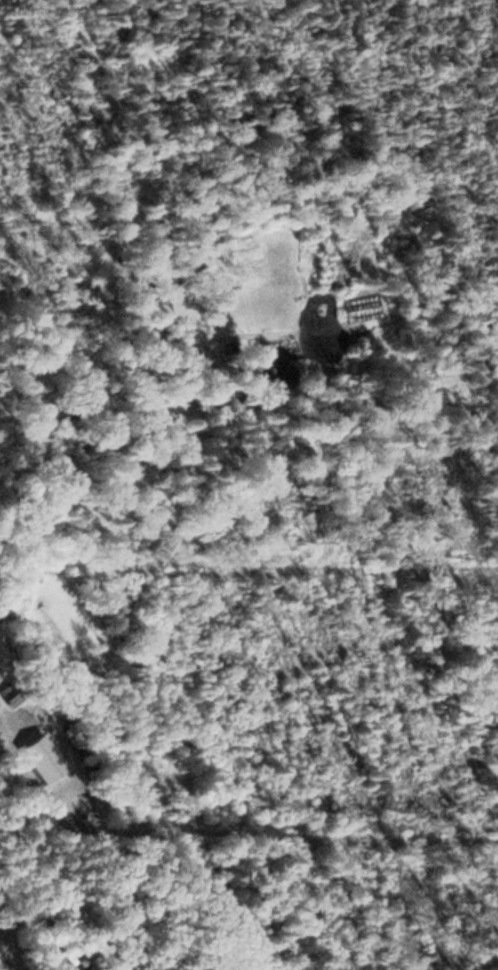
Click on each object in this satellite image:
road: (59, 880)

